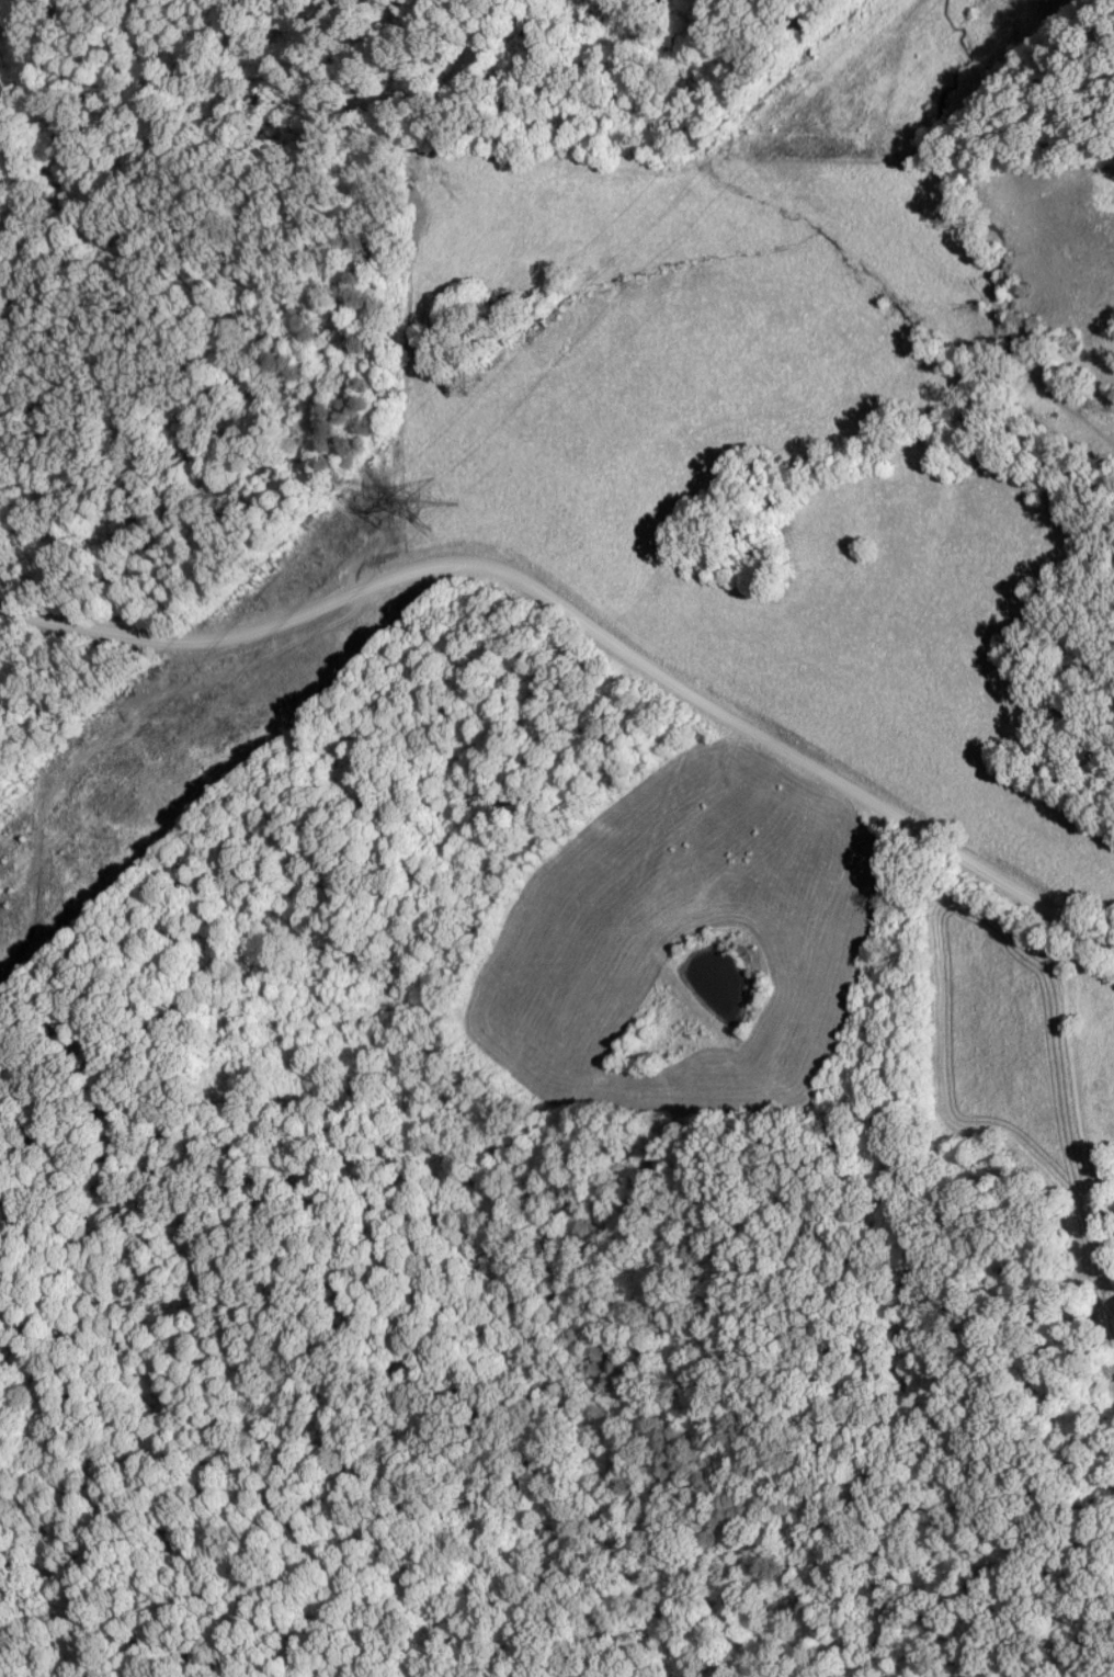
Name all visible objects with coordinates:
power tower: (440, 514)
road: (599, 621)

